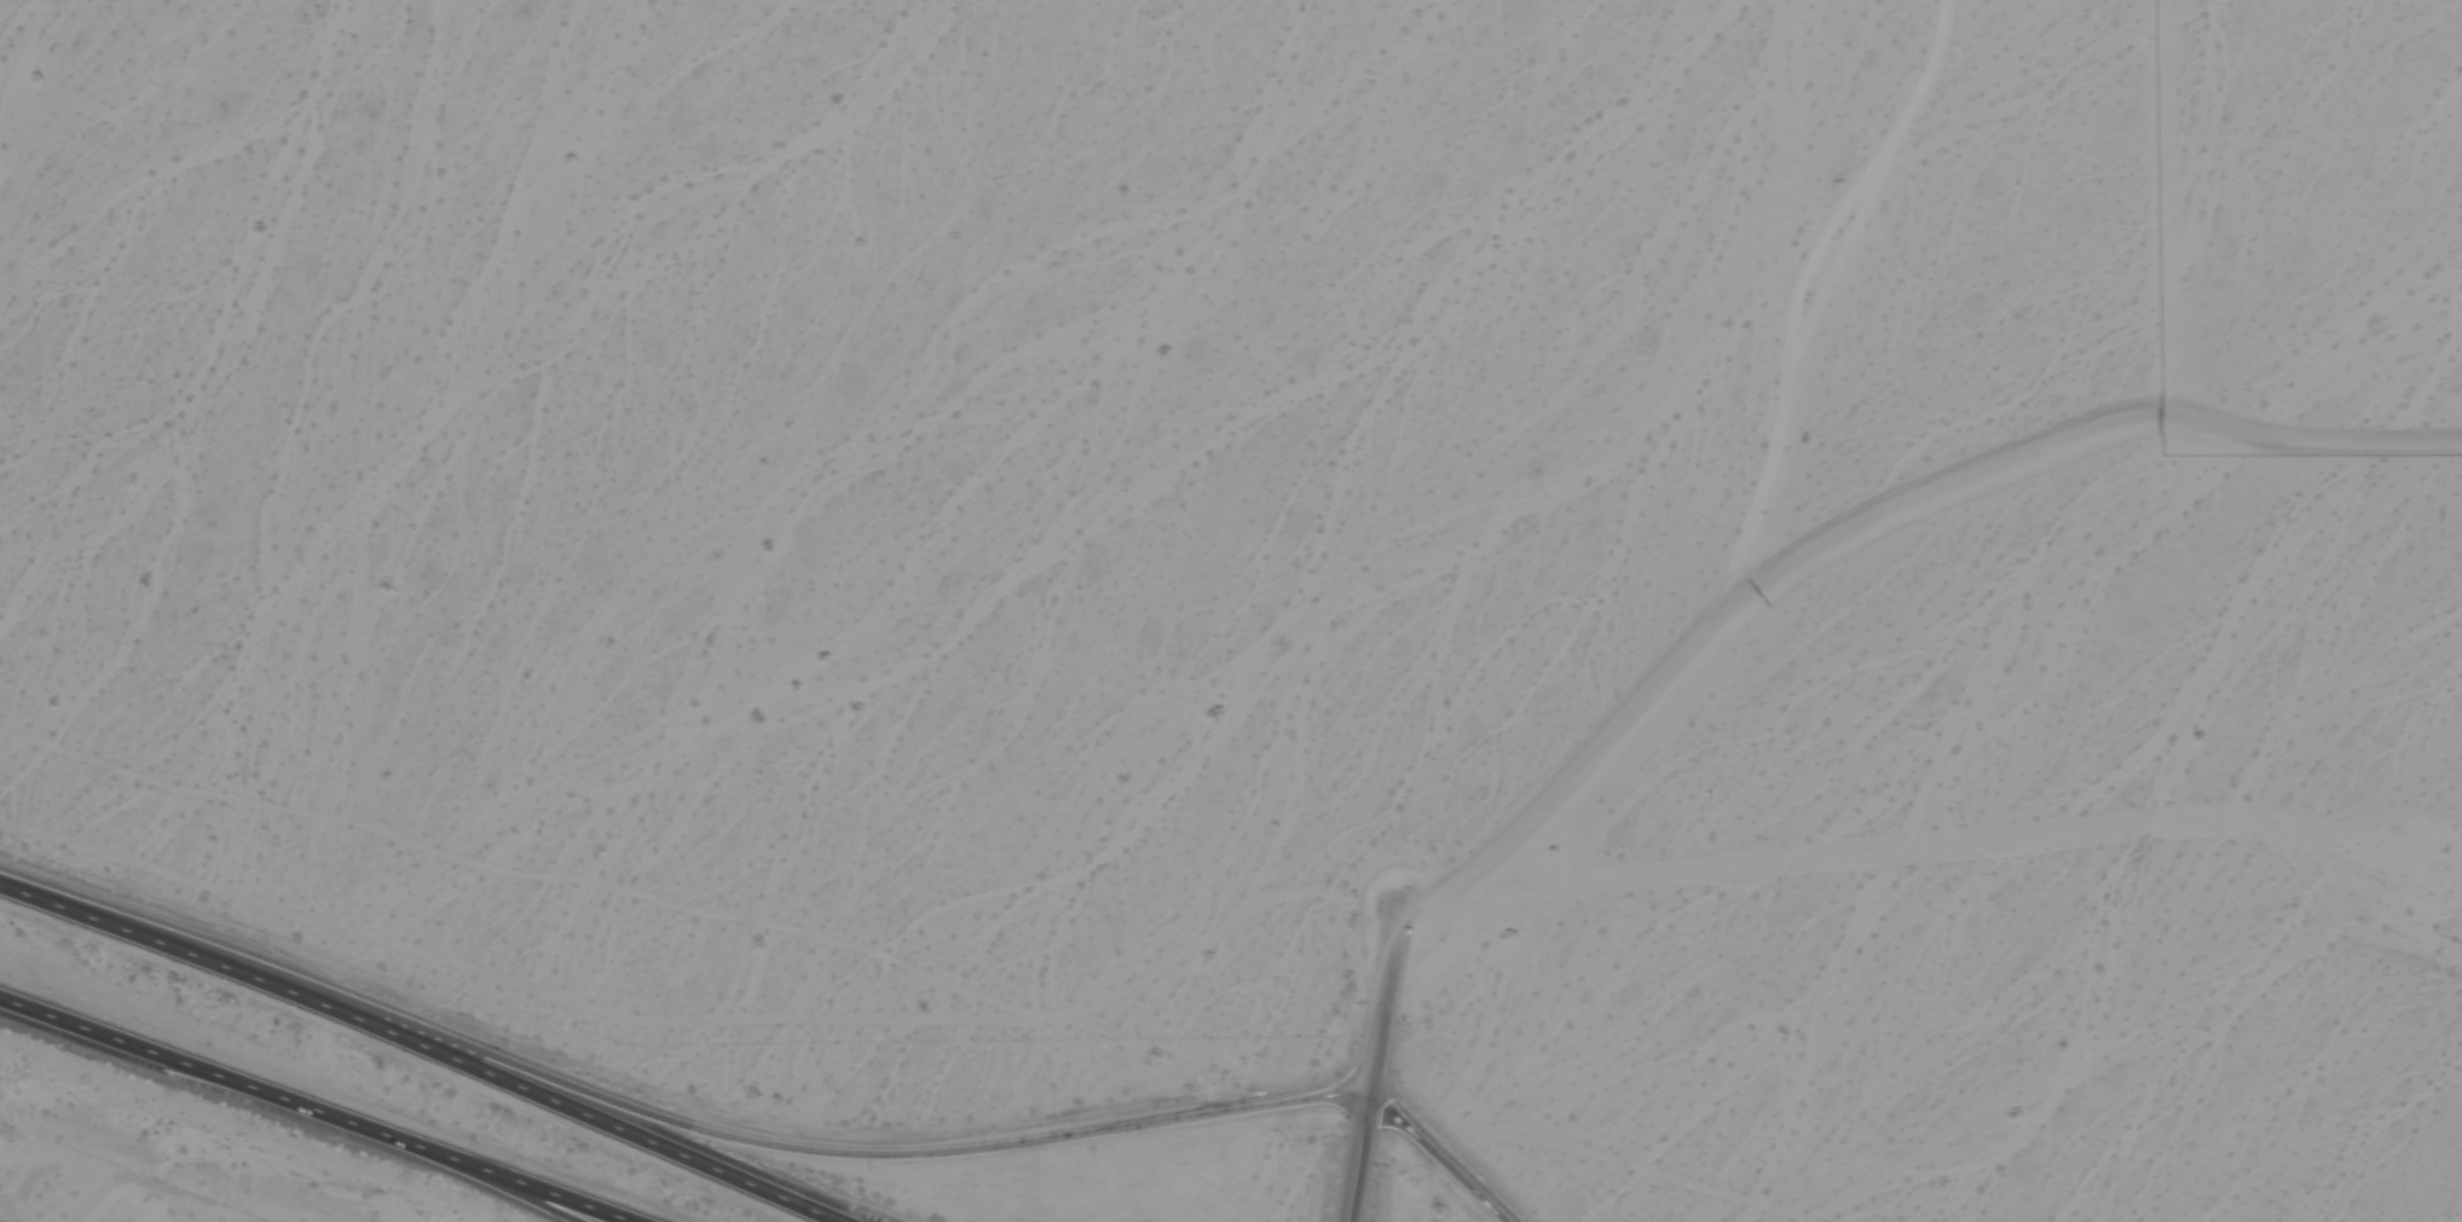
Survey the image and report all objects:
solar farm: (2310, 227)
road: (1753, 504)
road: (1383, 1001)
road: (443, 1046)
road: (323, 1106)
road: (846, 1147)
road: (1439, 1157)
road: (1354, 1160)
road: (530, 1188)

